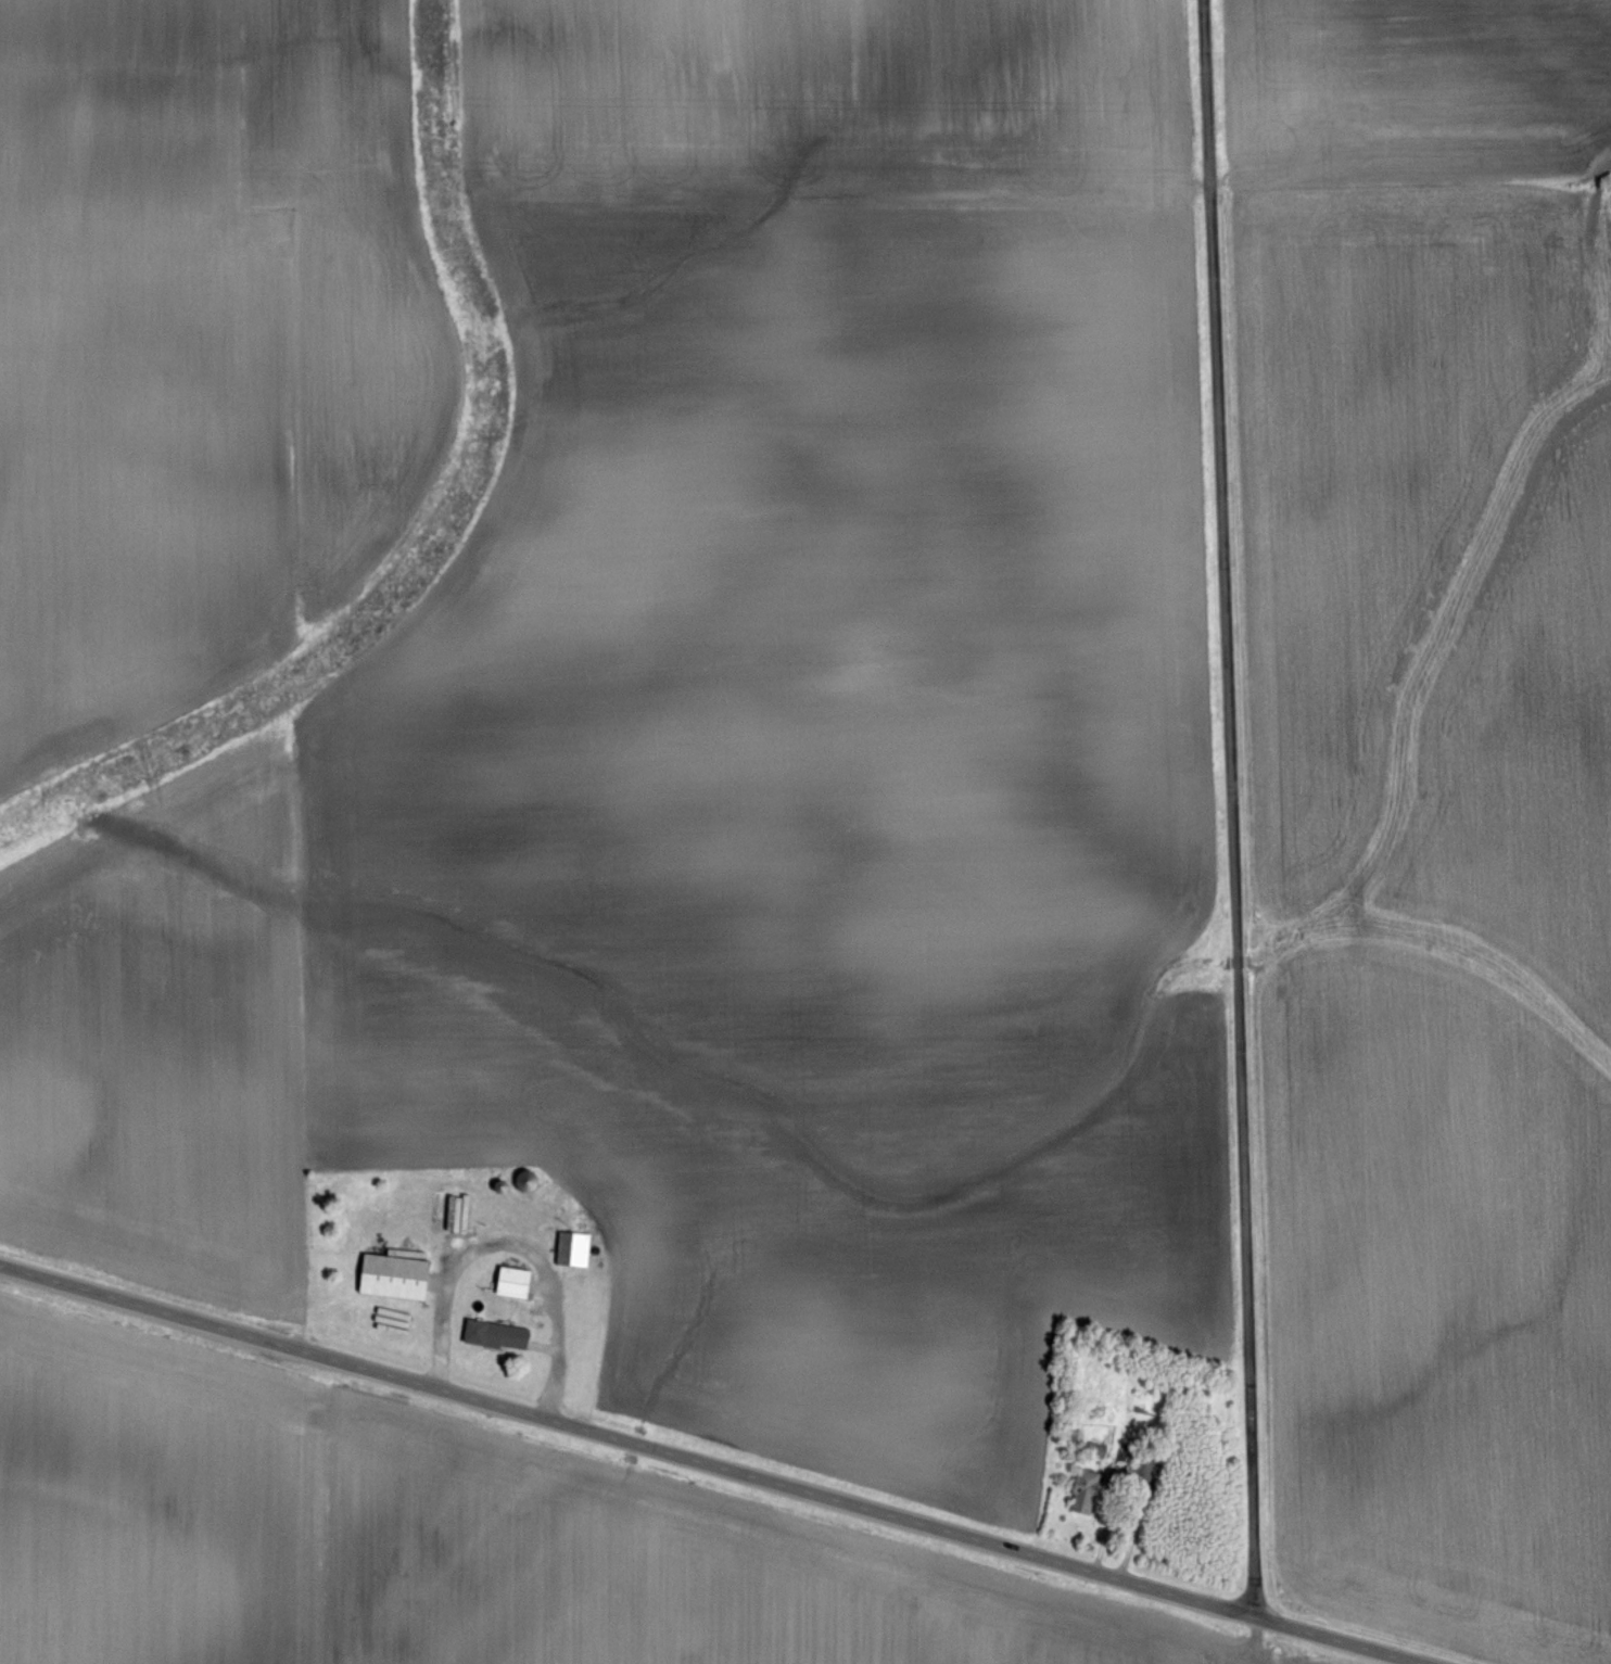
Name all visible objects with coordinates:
crop: (201, 348)
crop: (1385, 352)
crop: (1528, 734)
crop: (735, 759)
road: (1230, 808)
building: (461, 1218)
building: (576, 1253)
building: (398, 1281)
building: (517, 1286)
crop: (1436, 1305)
road: (710, 1463)
building: (1088, 1499)
crop: (445, 1539)

